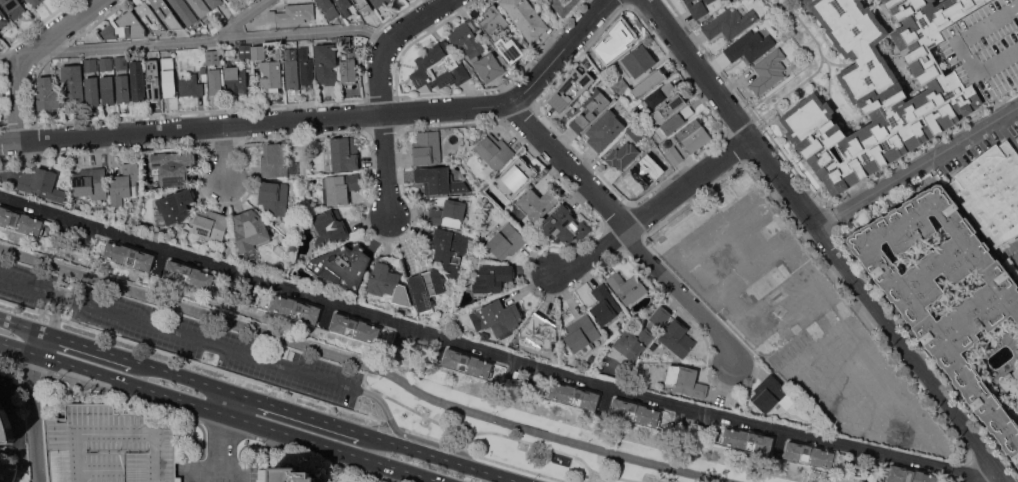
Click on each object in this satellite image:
building: (552, 1)
building: (564, 1)
building: (708, 1)
building: (34, 2)
building: (214, 2)
building: (380, 2)
building: (234, 6)
building: (344, 6)
building: (364, 6)
building: (199, 7)
building: (14, 8)
building: (328, 8)
building: (696, 8)
building: (184, 11)
building: (292, 12)
building: (167, 14)
building: (150, 16)
building: (526, 17)
building: (3, 18)
road: (240, 20)
building: (730, 22)
building: (264, 26)
building: (124, 27)
road: (65, 28)
building: (500, 32)
building: (618, 40)
road: (197, 41)
building: (346, 41)
building: (749, 45)
building: (475, 49)
building: (245, 51)
building: (258, 52)
road: (562, 53)
building: (210, 56)
building: (586, 59)
building: (637, 60)
building: (121, 62)
building: (106, 63)
building: (326, 63)
building: (428, 63)
building: (91, 65)
building: (306, 66)
building: (291, 68)
building: (203, 69)
building: (348, 69)
road: (698, 69)
building: (768, 71)
building: (271, 75)
building: (168, 77)
building: (152, 79)
building: (235, 79)
building: (138, 80)
building: (215, 80)
building: (649, 83)
building: (73, 85)
building: (191, 85)
building: (621, 86)
building: (123, 88)
building: (668, 88)
building: (108, 89)
building: (92, 90)
building: (572, 91)
road: (383, 93)
building: (48, 94)
road: (16, 97)
building: (654, 99)
building: (921, 99)
building: (669, 107)
building: (590, 109)
road: (427, 112)
building: (674, 121)
building: (604, 130)
building: (636, 132)
road: (1007, 134)
building: (694, 135)
building: (1017, 137)
building: (427, 147)
building: (494, 151)
road: (227, 153)
building: (342, 154)
building: (622, 155)
building: (674, 155)
building: (277, 161)
road: (927, 162)
building: (172, 167)
building: (641, 175)
building: (515, 177)
building: (440, 180)
building: (42, 184)
building: (91, 184)
building: (125, 184)
building: (339, 188)
building: (991, 191)
building: (274, 197)
building: (537, 203)
building: (173, 207)
road: (653, 212)
building: (702, 212)
building: (448, 214)
building: (21, 221)
road: (827, 223)
building: (211, 224)
building: (564, 224)
building: (775, 225)
building: (329, 228)
building: (250, 231)
building: (506, 241)
building: (450, 249)
building: (128, 255)
road: (1015, 255)
building: (344, 266)
building: (712, 268)
building: (189, 274)
building: (492, 278)
building: (387, 282)
building: (769, 282)
road: (31, 284)
building: (628, 287)
building: (426, 288)
building: (604, 305)
building: (294, 308)
building: (844, 308)
road: (877, 310)
road: (55, 314)
building: (833, 316)
building: (497, 318)
building: (1017, 324)
building: (955, 325)
road: (24, 326)
building: (356, 327)
building: (540, 332)
parking lot: (184, 334)
building: (581, 334)
building: (641, 334)
building: (484, 335)
building: (677, 338)
road: (43, 343)
building: (791, 343)
road: (19, 347)
road: (92, 347)
road: (474, 347)
road: (258, 358)
building: (467, 363)
road: (367, 365)
road: (182, 375)
building: (685, 380)
road: (132, 383)
building: (1011, 384)
road: (103, 389)
road: (284, 389)
building: (771, 394)
building: (573, 395)
road: (228, 402)
road: (296, 411)
building: (635, 412)
park: (506, 414)
road: (31, 416)
road: (14, 417)
road: (489, 424)
building: (5, 427)
road: (481, 431)
building: (747, 439)
building: (109, 446)
road: (226, 448)
road: (335, 448)
building: (815, 455)
road: (444, 457)
road: (976, 472)
building: (12, 473)
road: (589, 474)
road: (620, 474)
building: (290, 475)
building: (911, 475)

